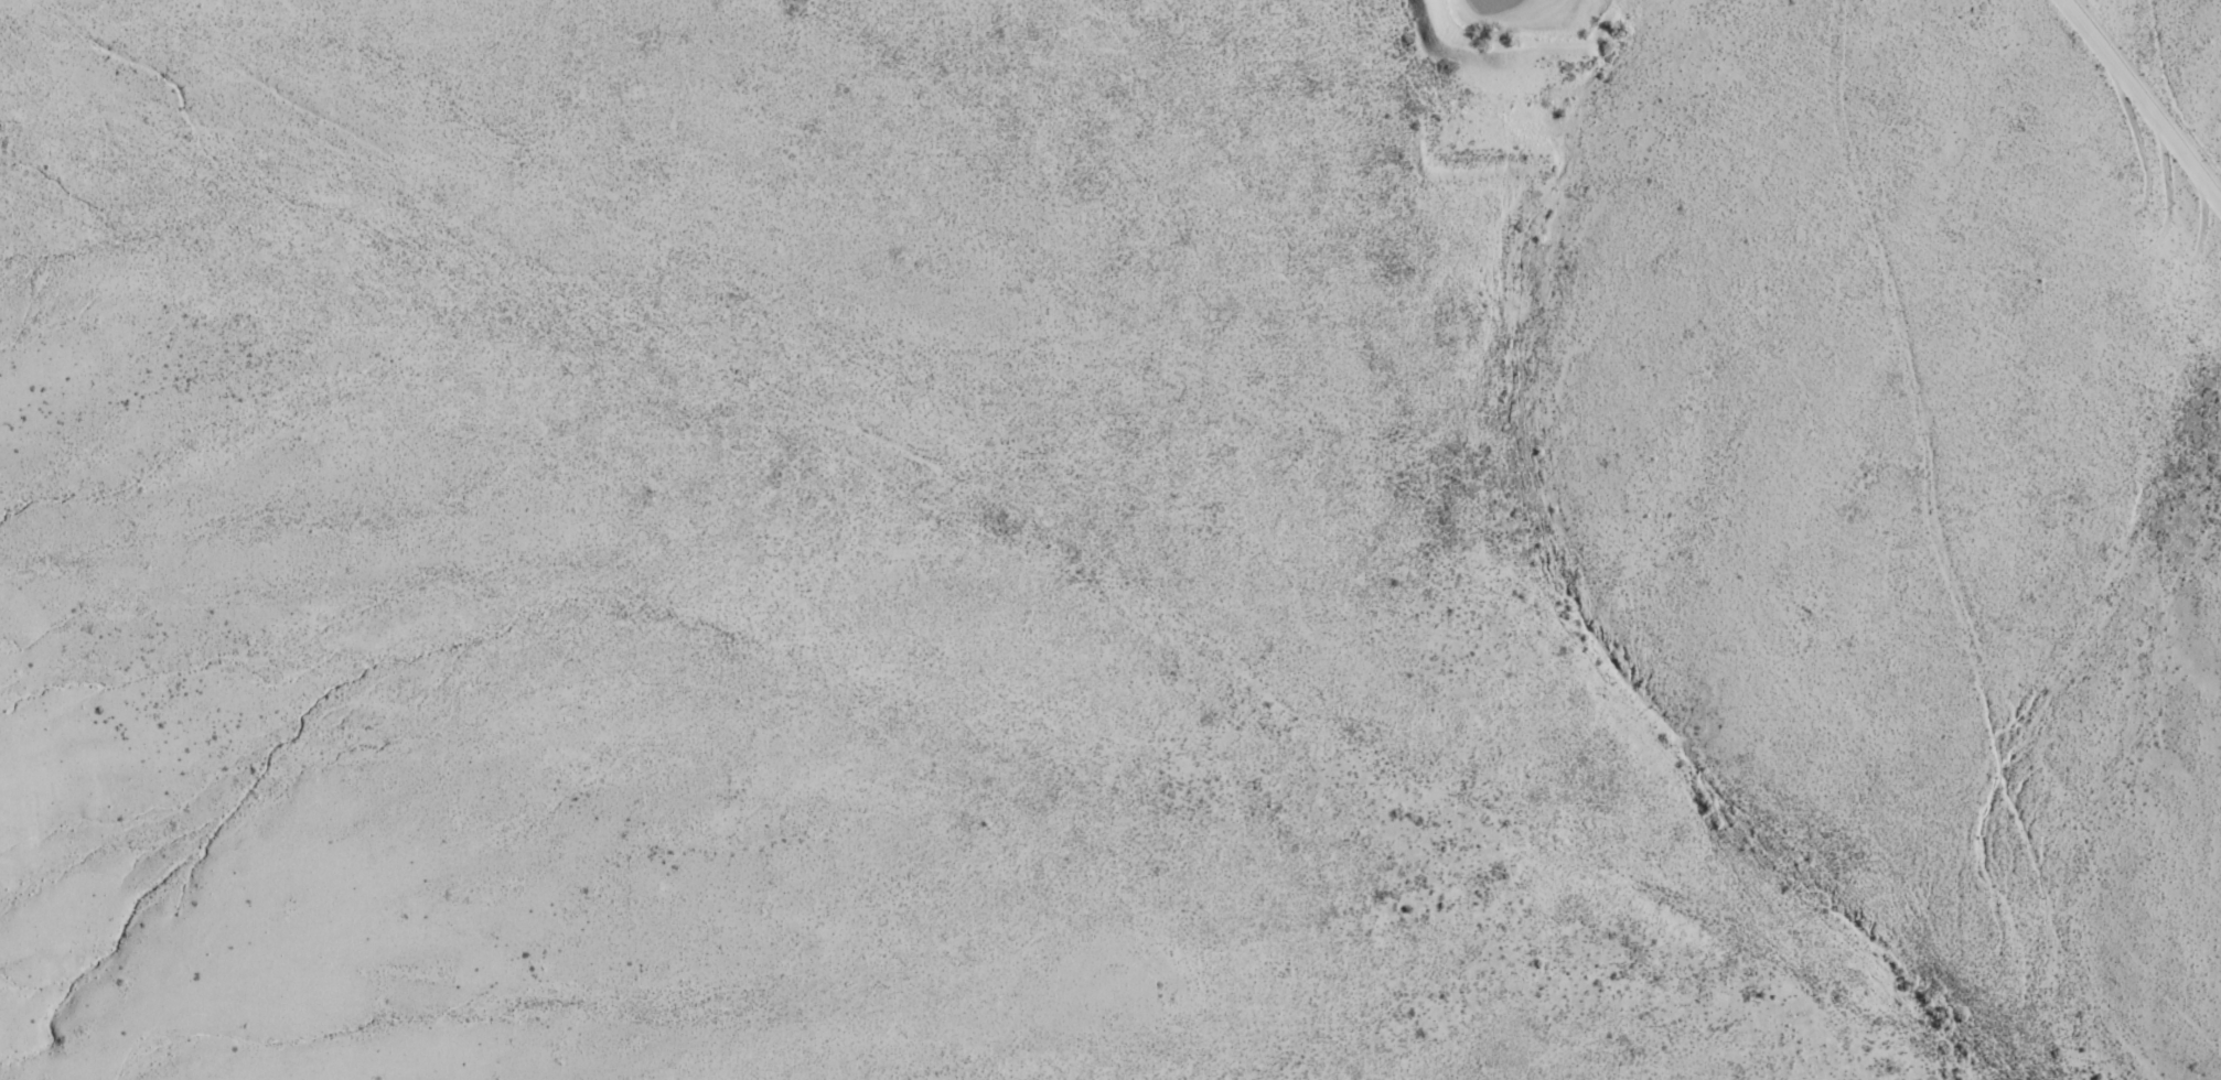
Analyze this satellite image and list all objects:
road: (2139, 106)

